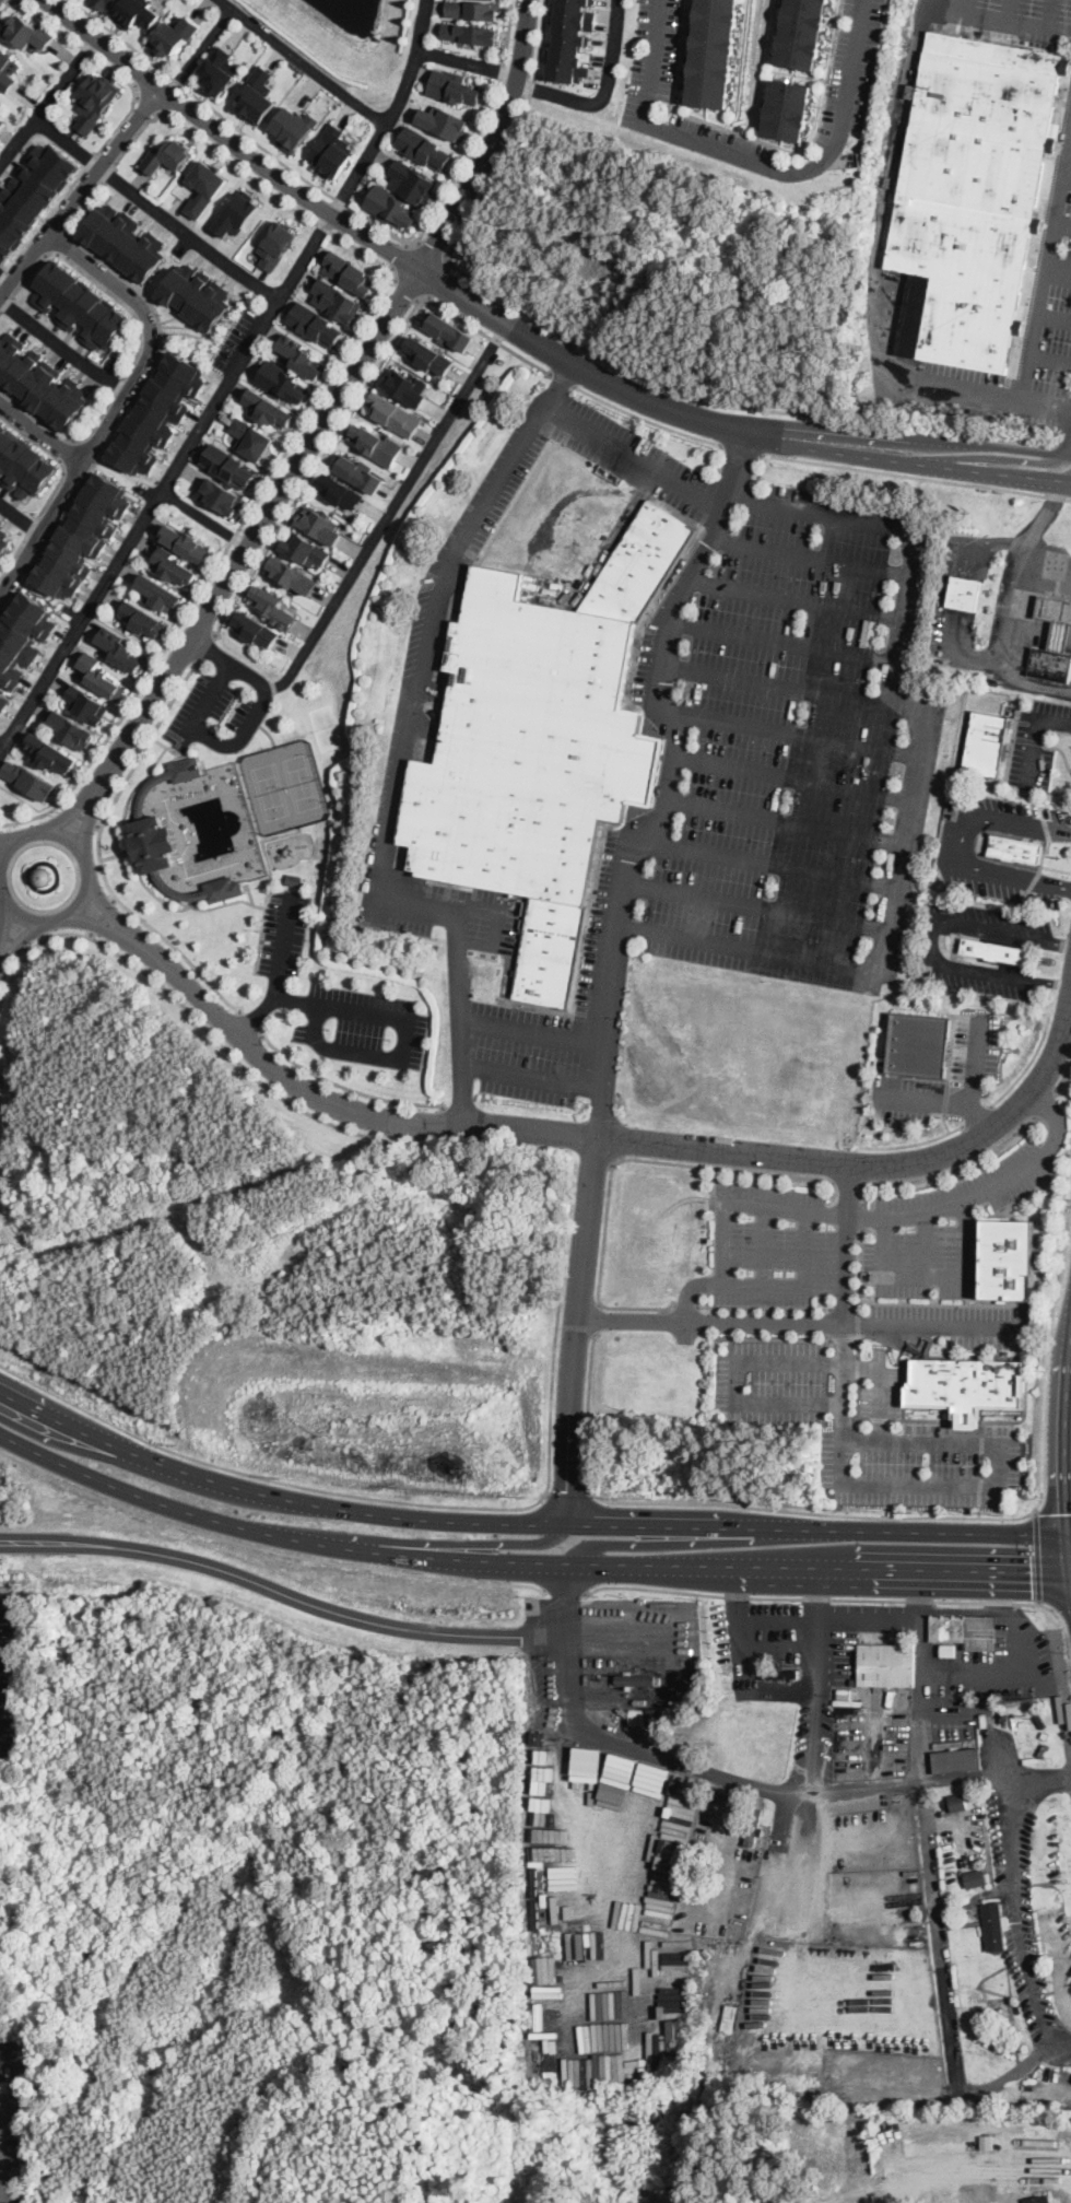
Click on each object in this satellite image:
road: (20, 0)
road: (10, 1)
building: (105, 2)
building: (473, 9)
road: (1009, 10)
building: (134, 13)
road: (1054, 14)
parking lot: (1015, 20)
road: (1008, 21)
building: (798, 32)
building: (25, 33)
building: (469, 33)
building: (170, 37)
building: (565, 40)
road: (199, 50)
building: (711, 50)
road: (675, 54)
road: (96, 59)
road: (652, 60)
road: (468, 61)
building: (8, 69)
building: (217, 72)
building: (454, 89)
building: (913, 91)
road: (603, 92)
building: (257, 94)
road: (47, 99)
building: (94, 102)
road: (355, 102)
road: (148, 103)
building: (788, 110)
building: (2, 117)
building: (445, 121)
building: (292, 127)
road: (227, 139)
road: (807, 142)
building: (424, 148)
building: (330, 152)
building: (164, 159)
road: (90, 160)
road: (811, 166)
road: (358, 168)
road: (1067, 176)
building: (412, 179)
building: (204, 187)
road: (80, 191)
building: (975, 191)
building: (34, 197)
building: (389, 203)
road: (348, 206)
road: (155, 208)
building: (236, 213)
road: (304, 215)
road: (46, 218)
road: (1062, 221)
building: (275, 244)
building: (126, 245)
road: (431, 253)
road: (401, 258)
road: (1046, 269)
road: (1058, 271)
road: (2, 272)
building: (350, 274)
road: (4, 280)
road: (408, 289)
building: (334, 300)
building: (192, 302)
building: (81, 303)
building: (915, 315)
parking lot: (1059, 317)
road: (1054, 318)
building: (316, 325)
building: (447, 330)
road: (61, 347)
building: (122, 351)
road: (600, 355)
building: (428, 356)
road: (561, 356)
building: (302, 358)
road: (1050, 360)
building: (282, 380)
road: (563, 382)
building: (402, 385)
building: (43, 387)
road: (632, 394)
parking lot: (954, 397)
road: (980, 397)
road: (357, 400)
road: (118, 402)
road: (336, 403)
building: (268, 408)
building: (161, 412)
building: (391, 413)
road: (646, 421)
road: (40, 432)
building: (251, 437)
road: (972, 444)
building: (378, 445)
road: (1062, 445)
road: (1062, 446)
road: (742, 452)
road: (633, 457)
road: (1000, 457)
building: (22, 466)
building: (229, 466)
road: (970, 469)
building: (358, 471)
road: (917, 478)
road: (165, 480)
building: (340, 490)
building: (223, 495)
road: (391, 512)
road: (20, 517)
road: (204, 517)
building: (0, 525)
building: (321, 525)
parking lot: (468, 531)
building: (84, 536)
building: (4, 543)
building: (185, 543)
building: (305, 548)
road: (811, 556)
building: (640, 563)
building: (174, 565)
road: (1045, 570)
building: (292, 575)
road: (946, 588)
building: (160, 591)
building: (964, 593)
road: (797, 599)
building: (271, 606)
road: (1012, 606)
building: (142, 618)
building: (1056, 618)
building: (255, 625)
building: (23, 636)
road: (781, 642)
road: (207, 647)
building: (120, 649)
road: (233, 664)
building: (1050, 665)
building: (99, 676)
road: (776, 684)
building: (2, 701)
building: (87, 705)
parking lot: (221, 706)
park: (325, 726)
building: (72, 730)
road: (1033, 733)
road: (204, 735)
road: (793, 736)
parking lot: (797, 739)
parking lot: (1036, 740)
building: (986, 741)
building: (529, 746)
road: (1061, 751)
building: (49, 752)
road: (404, 759)
building: (187, 767)
road: (920, 771)
road: (797, 777)
building: (28, 778)
road: (674, 778)
park: (302, 781)
park: (268, 789)
building: (951, 795)
road: (72, 810)
park: (298, 811)
road: (80, 813)
road: (91, 818)
road: (790, 821)
road: (8, 837)
road: (955, 842)
building: (154, 844)
building: (1015, 847)
parking lot: (956, 851)
road: (98, 853)
road: (769, 865)
building: (44, 875)
road: (91, 876)
building: (293, 878)
building: (224, 888)
road: (760, 905)
road: (105, 906)
parking lot: (440, 911)
road: (102, 914)
road: (3, 921)
road: (94, 923)
road: (498, 925)
road: (21, 940)
road: (13, 941)
road: (933, 941)
parking lot: (934, 949)
building: (992, 949)
building: (550, 950)
parking lot: (336, 998)
road: (379, 1013)
road: (255, 1016)
road: (250, 1022)
road: (200, 1024)
road: (533, 1030)
building: (919, 1041)
parking lot: (977, 1045)
parking lot: (526, 1050)
road: (1028, 1065)
road: (1063, 1076)
road: (531, 1079)
road: (345, 1087)
road: (968, 1102)
road: (1046, 1103)
road: (1055, 1114)
road: (976, 1115)
road: (980, 1116)
road: (945, 1122)
road: (602, 1141)
road: (911, 1142)
road: (650, 1159)
road: (956, 1167)
road: (848, 1181)
road: (958, 1204)
road: (803, 1210)
road: (827, 1214)
parking lot: (945, 1228)
road: (927, 1245)
road: (764, 1246)
parking lot: (774, 1247)
building: (1007, 1257)
road: (935, 1279)
road: (690, 1288)
road: (685, 1304)
road: (639, 1306)
road: (764, 1306)
road: (597, 1319)
road: (801, 1322)
parking lot: (958, 1324)
road: (576, 1331)
road: (772, 1337)
building: (953, 1343)
road: (734, 1381)
building: (966, 1384)
road: (880, 1387)
parking lot: (868, 1426)
road: (67, 1429)
road: (886, 1441)
road: (845, 1462)
road: (567, 1492)
road: (162, 1504)
road: (742, 1504)
road: (432, 1505)
road: (350, 1510)
road: (1052, 1512)
road: (699, 1526)
road: (950, 1532)
road: (451, 1543)
road: (656, 1544)
road: (264, 1547)
road: (1038, 1556)
road: (451, 1557)
road: (820, 1571)
traffic signals: (1031, 1575)
road: (564, 1589)
road: (283, 1593)
road: (823, 1598)
road: (1060, 1606)
road: (816, 1608)
road: (886, 1618)
building: (966, 1630)
road: (622, 1636)
road: (812, 1645)
building: (950, 1649)
building: (886, 1665)
road: (990, 1673)
building: (780, 1674)
building: (635, 1680)
building: (844, 1695)
building: (638, 1718)
building: (655, 1721)
road: (921, 1724)
road: (668, 1760)
building: (957, 1760)
road: (975, 1773)
building: (958, 1802)
building: (754, 1825)
building: (976, 1878)
road: (772, 1895)
road: (1015, 1898)
building: (996, 1926)
road: (940, 1987)
building: (728, 2017)
building: (548, 2018)
building: (2, 2065)
road: (19, 2074)
road: (978, 2175)
road: (1070, 2184)
road: (0, 2187)
building: (1039, 2200)

